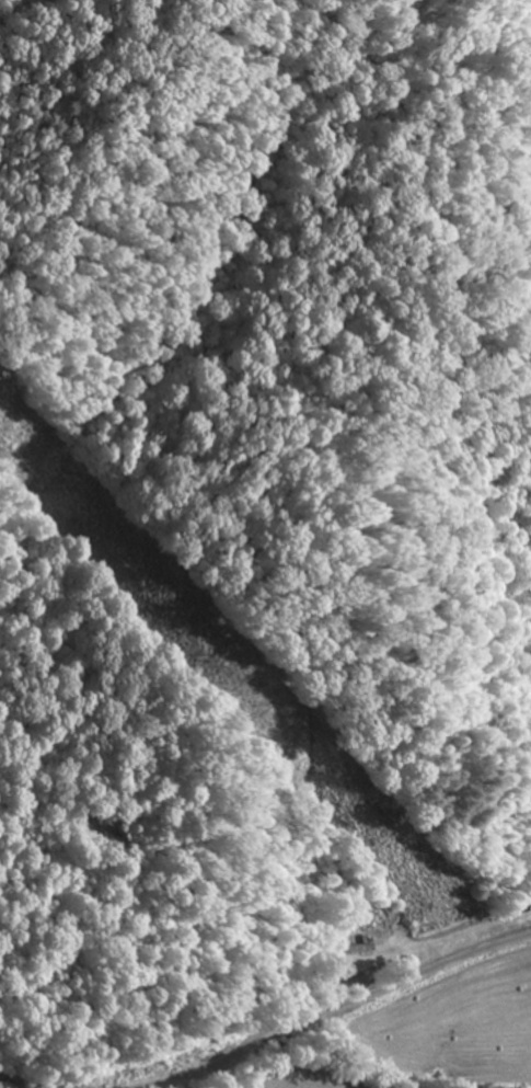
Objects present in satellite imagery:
road: (333, 1009)
road: (14, 1084)

